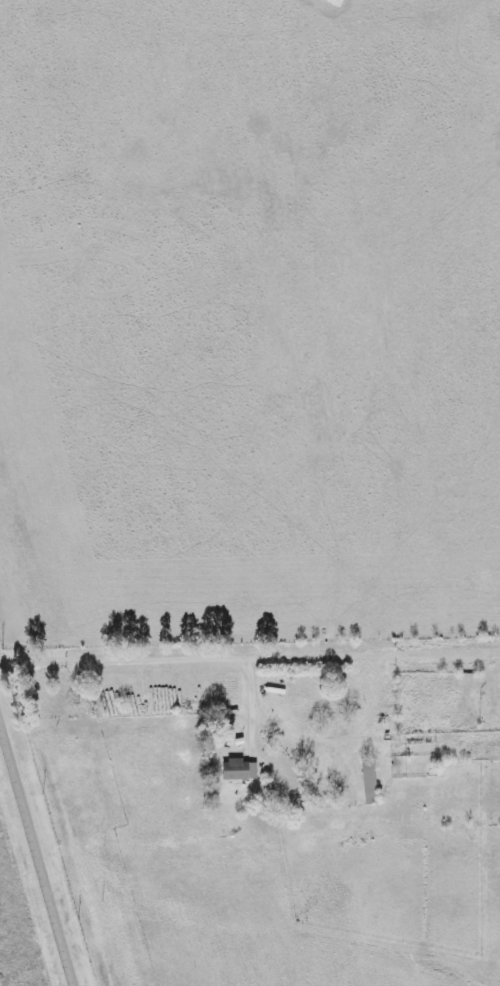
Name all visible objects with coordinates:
road: (154, 661)
building: (237, 770)
building: (367, 782)
road: (37, 852)

